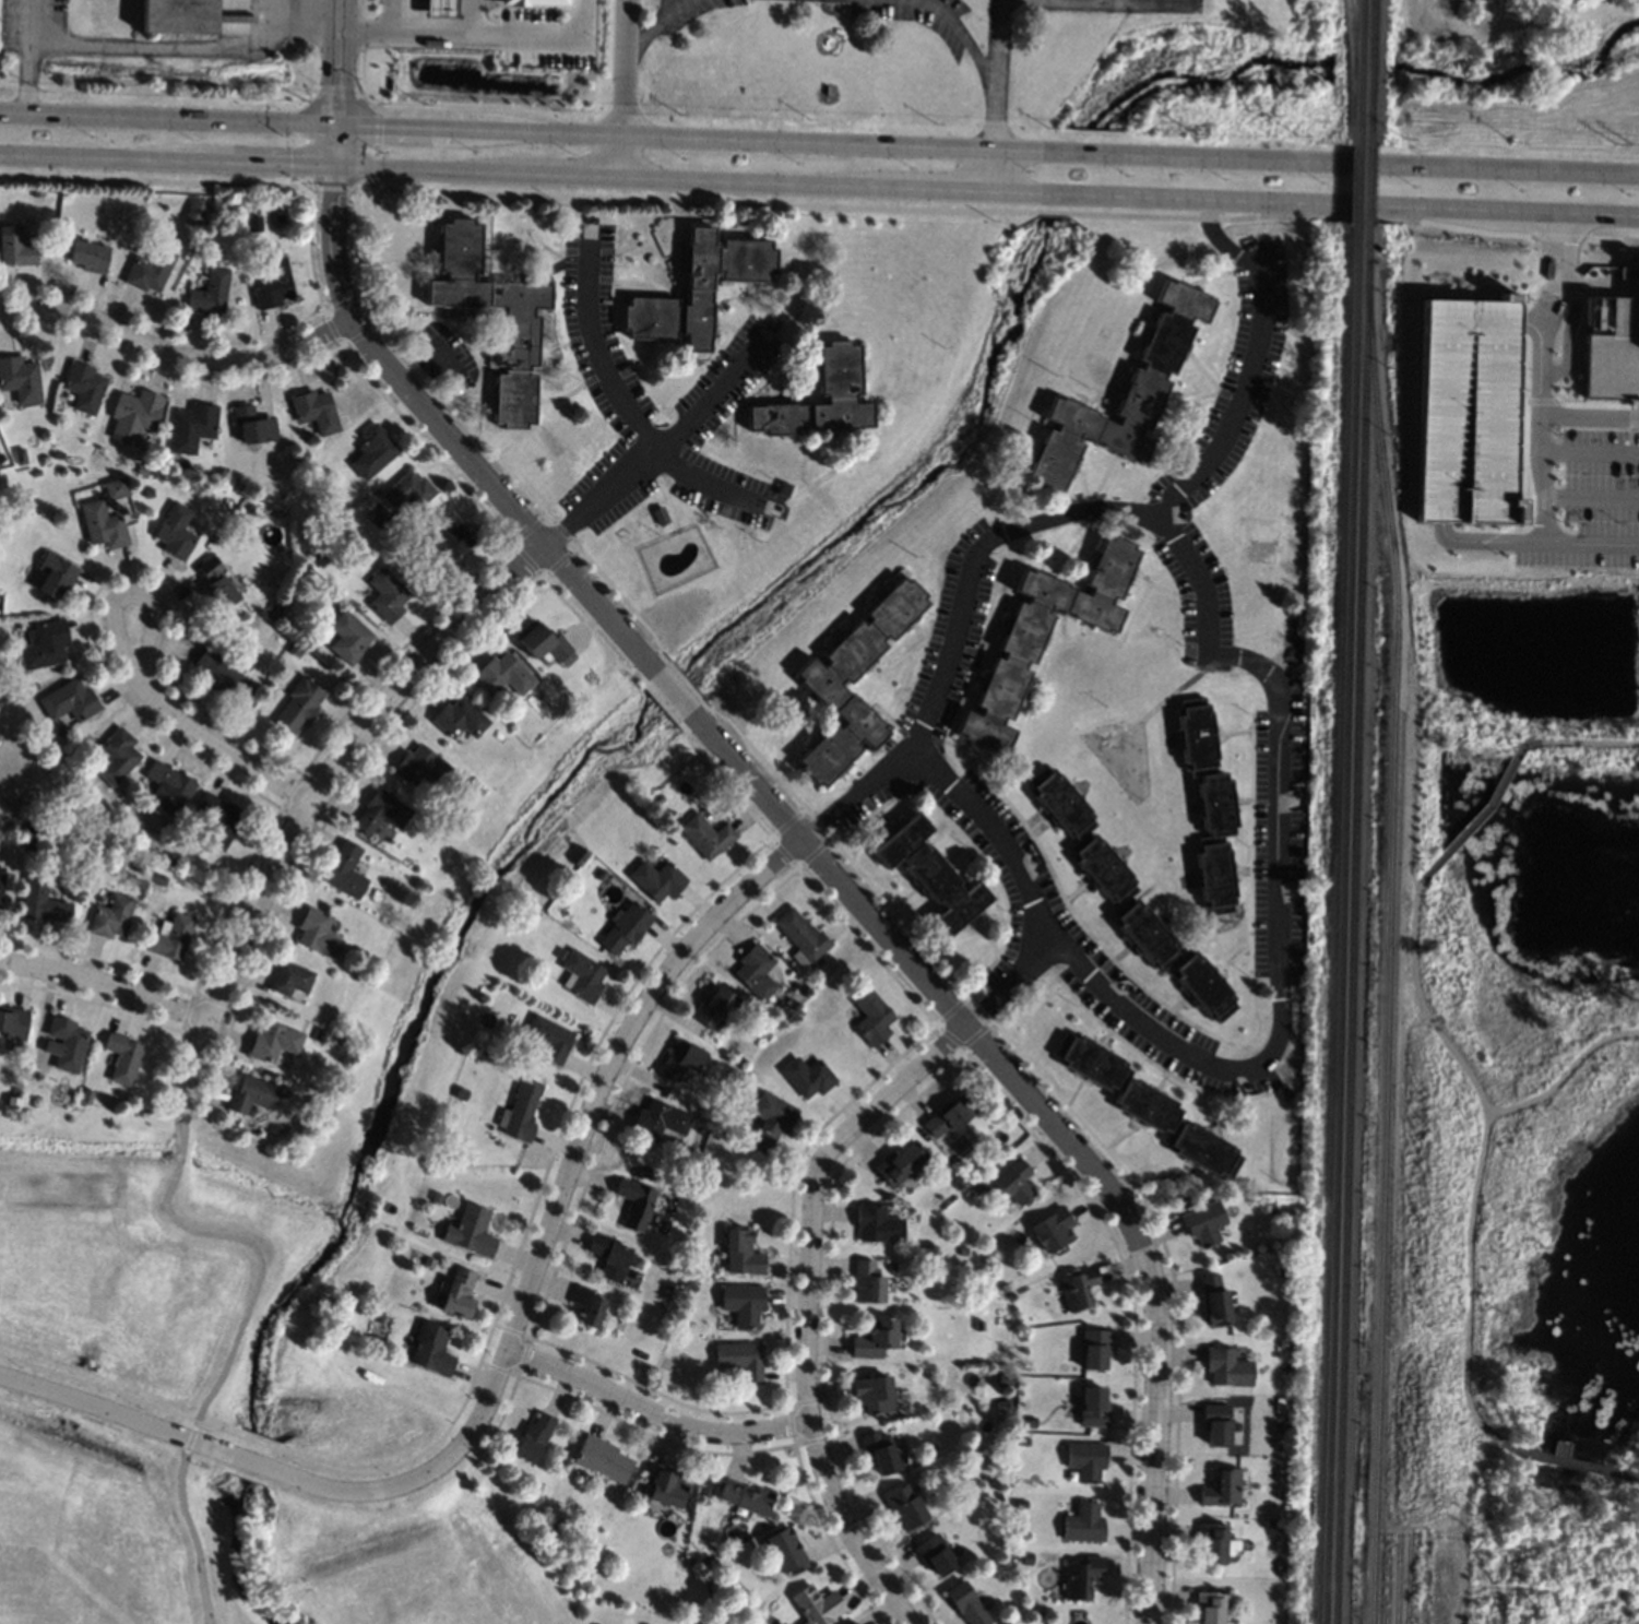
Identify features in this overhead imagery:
road: (1105, 0)
road: (1149, 1)
building: (534, 2)
road: (1127, 2)
parking lot: (490, 3)
building: (440, 8)
gas station: (440, 8)
building: (176, 15)
road: (403, 16)
road: (31, 22)
road: (653, 26)
road: (477, 35)
road: (961, 35)
parking lot: (537, 38)
road: (173, 49)
road: (336, 61)
railway: (1359, 70)
railway: (1370, 71)
road: (27, 78)
traffic signals: (336, 84)
road: (621, 88)
road: (995, 94)
road: (167, 117)
traffic signals: (381, 126)
road: (842, 142)
road: (334, 145)
road: (90, 158)
road: (1361, 163)
road: (256, 164)
traffic signals: (289, 166)
road: (1506, 168)
road: (419, 170)
road: (562, 176)
road: (747, 182)
railway: (1357, 182)
railway: (1368, 183)
road: (933, 189)
building: (37, 192)
road: (1171, 197)
traffic signals: (333, 198)
building: (230, 203)
road: (767, 204)
road: (1361, 204)
road: (1505, 210)
building: (197, 211)
building: (256, 224)
road: (1557, 236)
road: (1611, 238)
building: (15, 248)
building: (90, 257)
building: (151, 270)
road: (1559, 281)
building: (273, 285)
building: (698, 289)
building: (211, 292)
road: (1532, 328)
road: (1567, 331)
building: (516, 341)
road: (177, 347)
building: (1611, 348)
road: (597, 357)
road: (424, 369)
building: (839, 370)
building: (20, 379)
building: (84, 388)
building: (1124, 395)
road: (1540, 401)
road: (1591, 404)
road: (1632, 406)
building: (316, 411)
building: (1465, 411)
parking garage: (1465, 411)
building: (134, 416)
road: (1552, 416)
building: (253, 426)
building: (193, 427)
road: (446, 435)
road: (1629, 435)
road: (1588, 450)
building: (373, 452)
road: (1522, 454)
building: (58, 455)
road: (664, 455)
building: (21, 457)
building: (1, 458)
building: (37, 473)
road: (1539, 478)
building: (117, 488)
building: (785, 489)
road: (709, 490)
building: (149, 493)
building: (376, 493)
building: (408, 494)
road: (1591, 497)
parking lot: (1598, 500)
building: (249, 506)
road: (1083, 510)
building: (370, 514)
building: (661, 517)
building: (103, 525)
building: (176, 532)
building: (444, 541)
road: (1533, 542)
building: (216, 544)
building: (321, 560)
building: (56, 576)
building: (217, 584)
building: (385, 595)
road: (132, 597)
building: (276, 612)
building: (537, 629)
building: (1045, 636)
building: (348, 637)
building: (46, 645)
building: (296, 650)
building: (560, 651)
building: (502, 674)
building: (223, 676)
building: (821, 681)
road: (669, 689)
building: (70, 701)
building: (299, 706)
building: (459, 719)
road: (1589, 742)
road: (219, 747)
building: (116, 757)
building: (419, 766)
building: (471, 781)
building: (170, 786)
road: (313, 798)
building: (657, 801)
building: (1209, 806)
road: (1485, 807)
building: (380, 813)
building: (672, 813)
building: (219, 820)
building: (32, 826)
building: (706, 835)
building: (29, 844)
building: (140, 864)
building: (345, 870)
building: (931, 875)
building: (602, 876)
building: (657, 880)
building: (162, 881)
building: (1, 884)
building: (1127, 898)
building: (43, 903)
building: (112, 917)
railway: (1340, 923)
railway: (1352, 924)
building: (626, 927)
building: (317, 933)
building: (171, 937)
building: (803, 937)
railway: (1388, 941)
building: (561, 955)
building: (819, 961)
building: (757, 972)
building: (583, 977)
building: (290, 979)
road: (1010, 983)
road: (104, 988)
building: (716, 1008)
road: (1280, 1011)
building: (871, 1018)
building: (486, 1020)
building: (13, 1026)
building: (319, 1035)
building: (550, 1039)
building: (273, 1042)
building: (68, 1043)
park: (1529, 1047)
building: (122, 1057)
building: (681, 1059)
road: (1564, 1070)
road: (907, 1072)
building: (807, 1077)
building: (1284, 1090)
building: (461, 1093)
building: (252, 1095)
building: (316, 1101)
building: (1147, 1105)
road: (590, 1106)
building: (520, 1111)
building: (949, 1115)
road: (1048, 1118)
building: (769, 1119)
building: (660, 1121)
park: (401, 1133)
road: (1478, 1153)
building: (895, 1166)
building: (1014, 1183)
building: (958, 1184)
building: (982, 1186)
building: (436, 1198)
building: (636, 1204)
building: (1271, 1208)
building: (1203, 1223)
building: (877, 1225)
building: (1052, 1230)
building: (470, 1231)
building: (962, 1252)
building: (741, 1253)
building: (609, 1256)
building: (428, 1263)
building: (890, 1266)
building: (1280, 1271)
building: (867, 1282)
building: (690, 1287)
building: (1005, 1287)
building: (1078, 1290)
building: (667, 1291)
building: (459, 1295)
building: (1011, 1296)
building: (1214, 1300)
building: (743, 1304)
building: (589, 1306)
road: (233, 1339)
building: (874, 1339)
building: (1094, 1348)
building: (431, 1349)
building: (740, 1359)
building: (1024, 1366)
building: (1227, 1367)
road: (806, 1378)
building: (1284, 1378)
building: (1006, 1380)
building: (874, 1394)
building: (1281, 1402)
building: (1002, 1406)
building: (1093, 1408)
road: (653, 1411)
building: (1029, 1424)
building: (1216, 1424)
building: (534, 1437)
building: (1023, 1443)
building: (882, 1453)
road: (240, 1458)
building: (603, 1459)
building: (1086, 1460)
road: (1568, 1462)
building: (666, 1486)
building: (1222, 1487)
building: (705, 1493)
building: (746, 1498)
building: (1021, 1505)
building: (905, 1506)
building: (1083, 1524)
building: (1272, 1524)
building: (1215, 1542)
building: (785, 1551)
building: (936, 1555)
building: (607, 1558)
building: (1082, 1577)
railway: (1389, 1579)
railway: (1400, 1579)
railway: (1410, 1579)
building: (967, 1604)
building: (817, 1605)
building: (1211, 1607)
building: (757, 1617)
building: (855, 1623)

